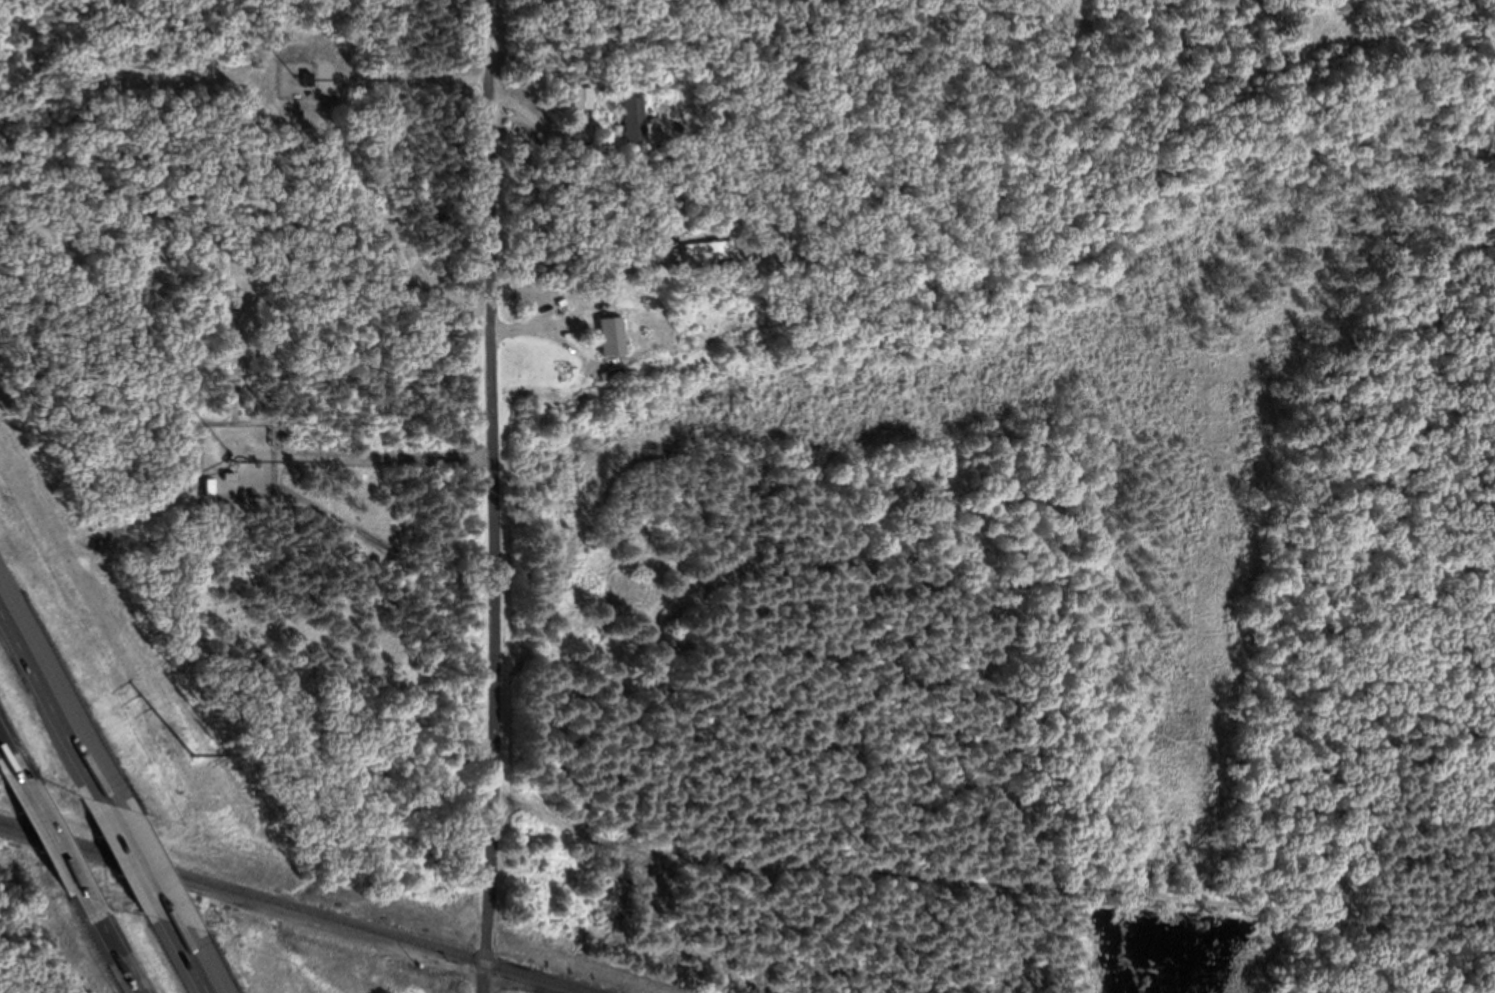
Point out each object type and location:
road: (413, 81)
building: (313, 82)
building: (584, 101)
building: (635, 122)
building: (714, 249)
road: (529, 332)
building: (619, 339)
road: (389, 461)
road: (496, 496)
road: (55, 699)
road: (15, 752)
power tower: (189, 754)
road: (63, 841)
road: (143, 862)
railway: (296, 907)
road: (120, 948)
road: (195, 958)

